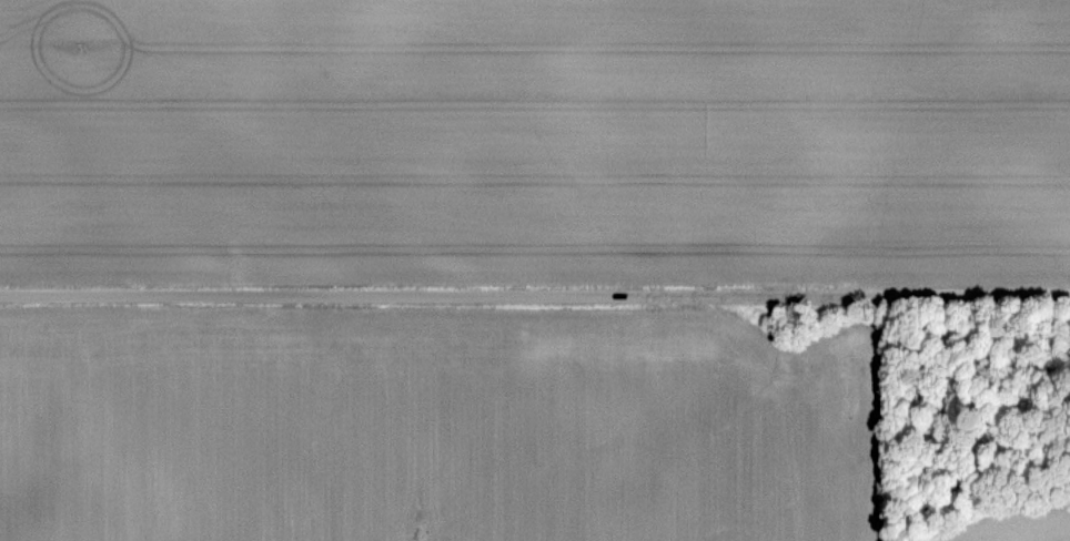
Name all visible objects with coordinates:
road: (535, 296)

